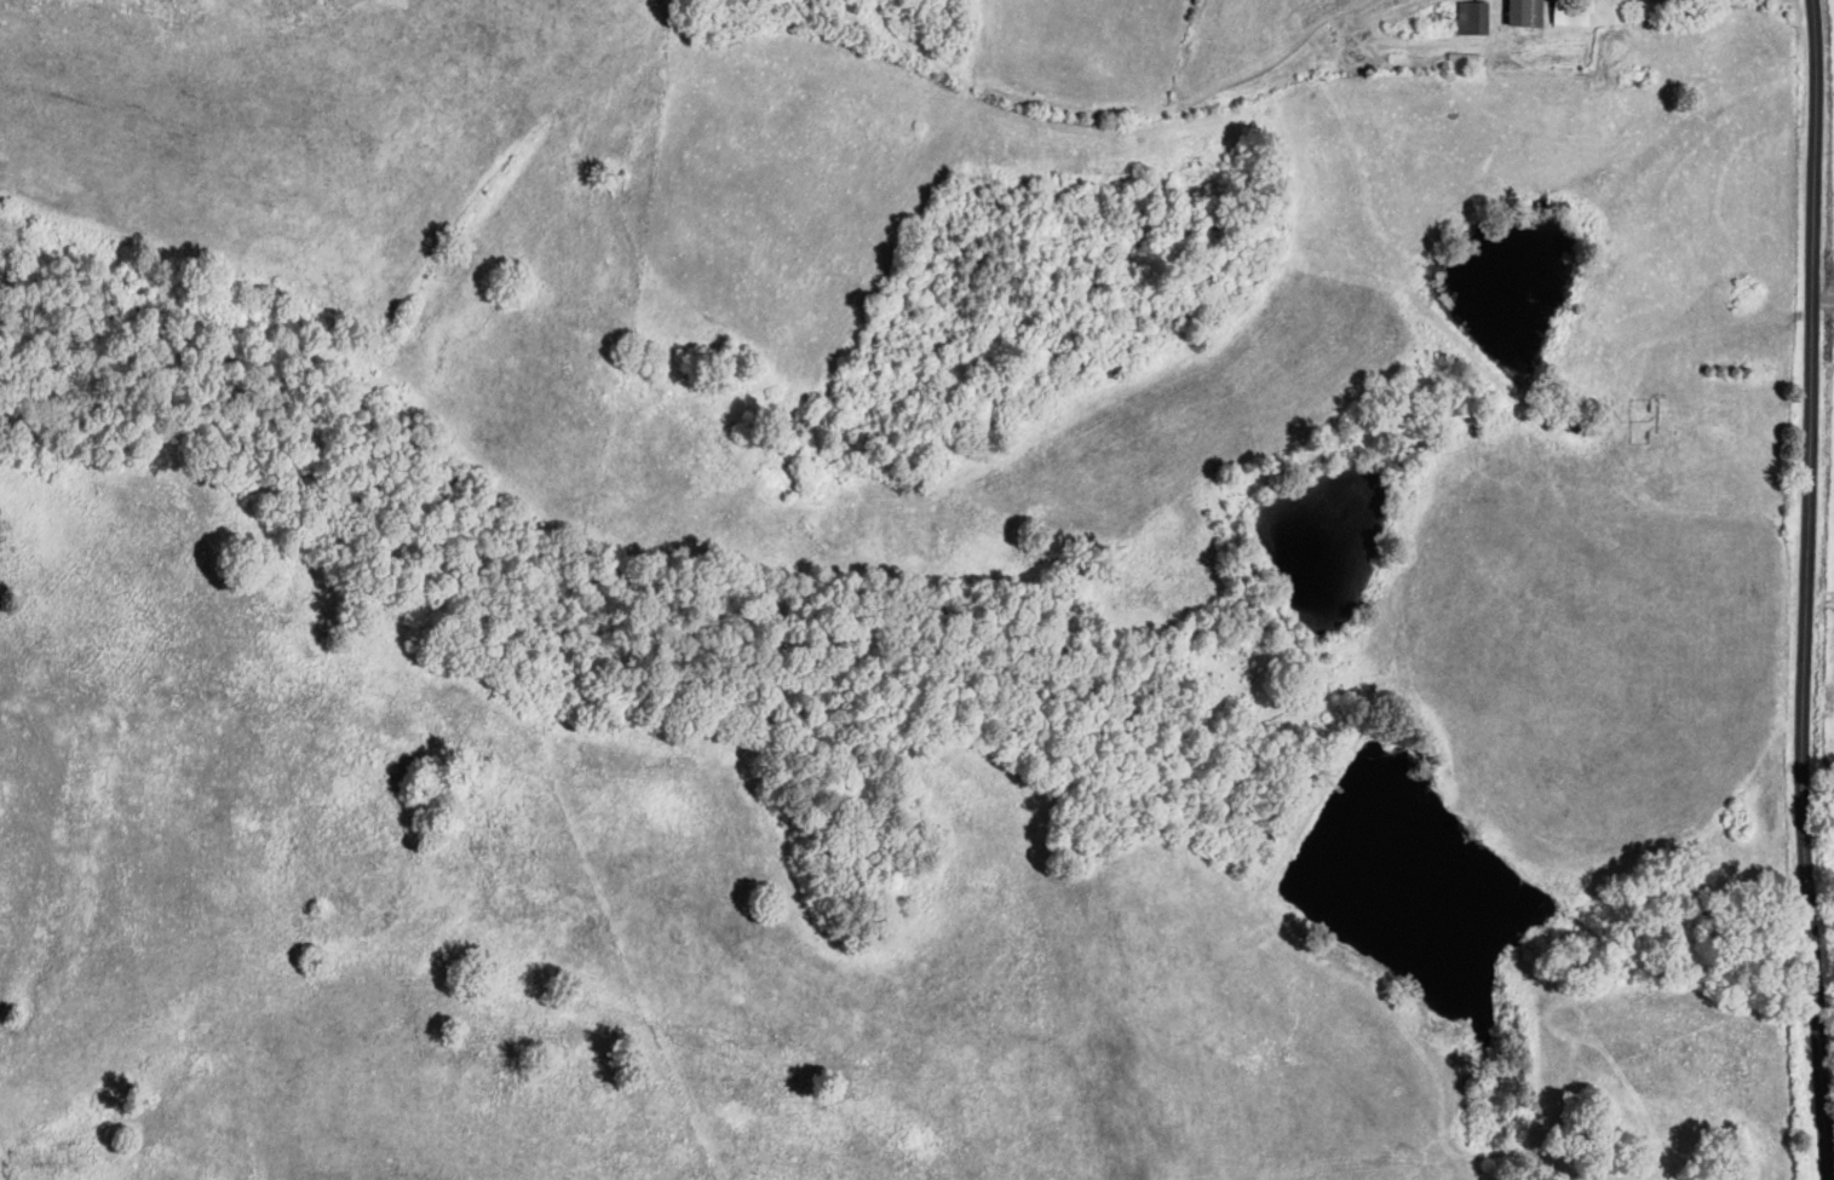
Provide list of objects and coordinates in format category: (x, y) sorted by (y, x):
building: (1565, 12)
building: (1519, 13)
building: (1468, 18)
road: (1807, 589)

